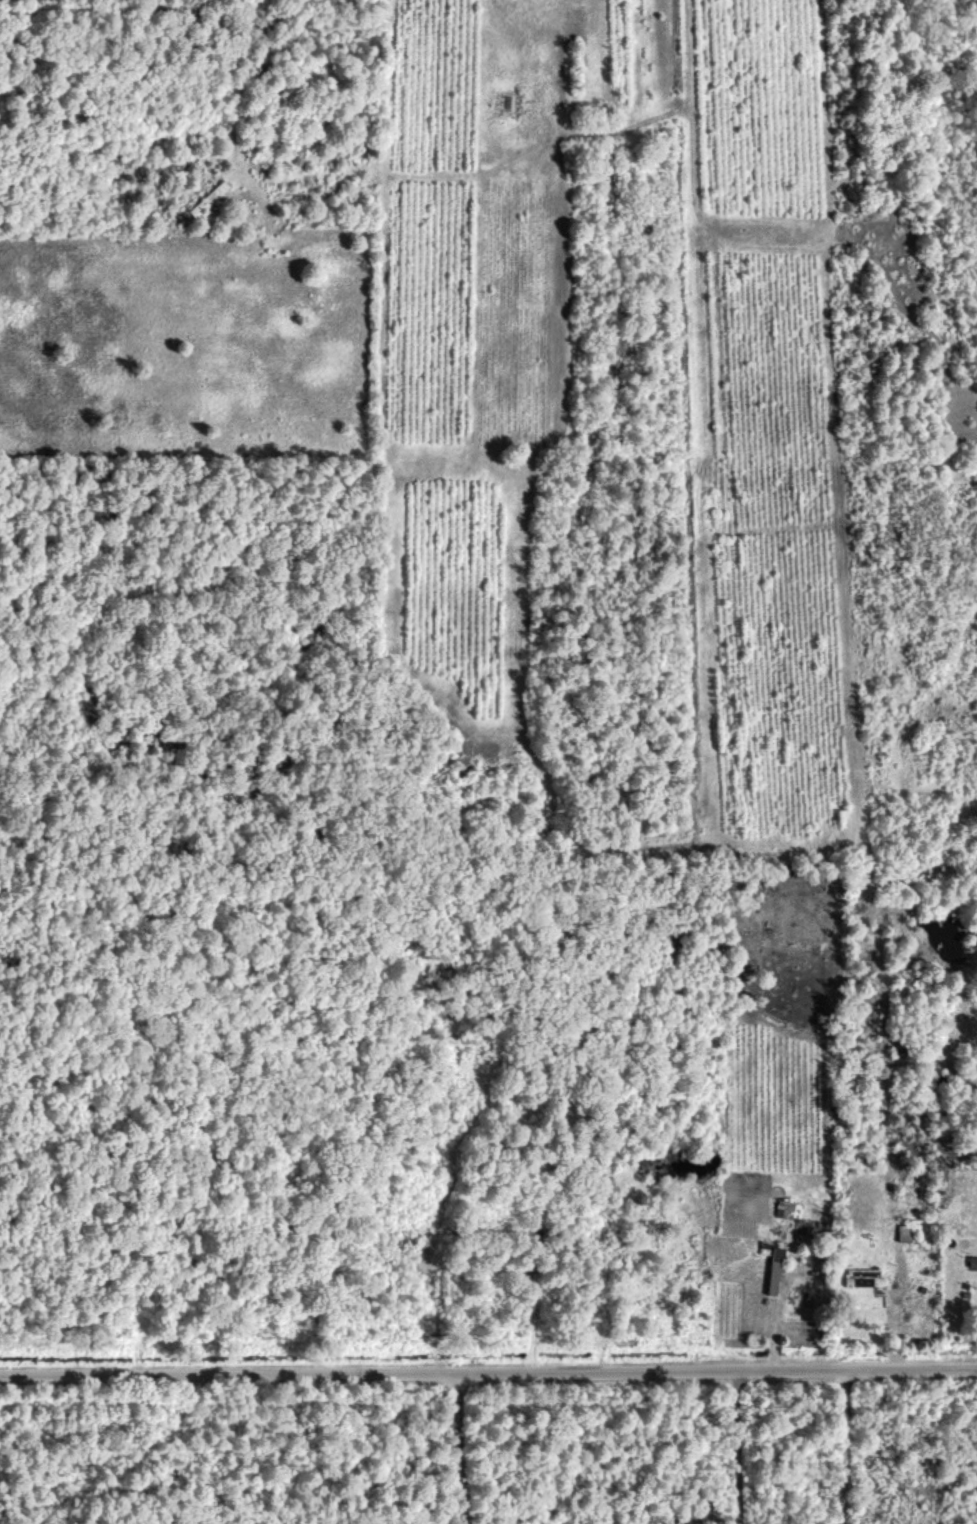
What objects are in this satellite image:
building: (902, 1234)
road: (488, 1371)
road: (843, 1446)
road: (735, 1447)
road: (458, 1448)
road: (77, 1449)

